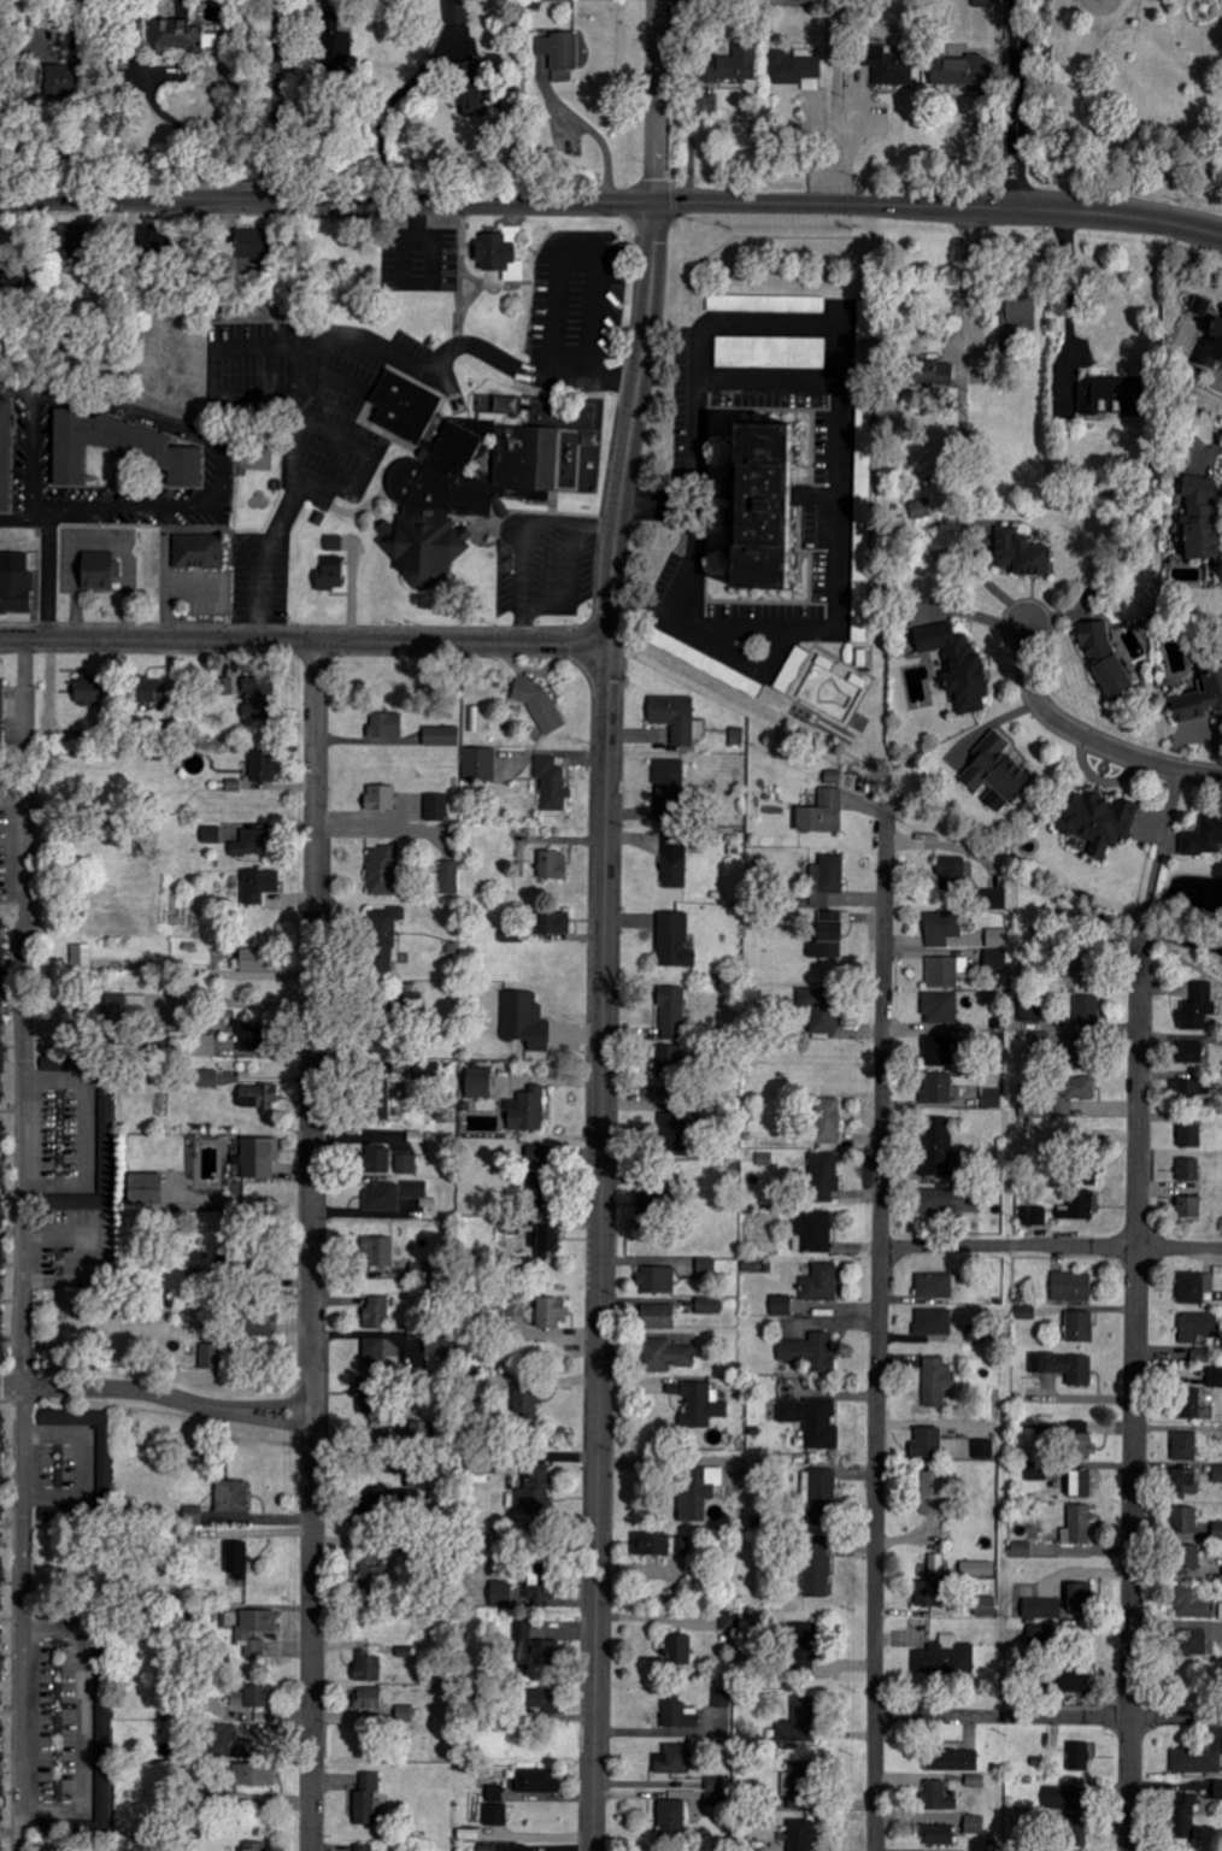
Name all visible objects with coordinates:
building: (983, 2)
building: (456, 11)
building: (176, 36)
building: (560, 54)
building: (733, 64)
building: (887, 65)
building: (794, 66)
building: (965, 71)
building: (55, 81)
building: (474, 93)
road: (274, 99)
road: (653, 100)
road: (1018, 104)
road: (147, 106)
road: (846, 141)
road: (327, 199)
road: (834, 205)
road: (1118, 221)
building: (70, 240)
building: (155, 240)
building: (253, 242)
building: (501, 253)
road: (574, 254)
road: (973, 269)
road: (960, 277)
road: (1065, 298)
building: (768, 304)
building: (1200, 305)
building: (1020, 312)
building: (869, 318)
road: (334, 331)
building: (1215, 343)
building: (801, 351)
building: (932, 372)
building: (1109, 395)
building: (405, 406)
road: (631, 425)
building: (124, 457)
building: (10, 458)
road: (230, 475)
building: (460, 495)
building: (758, 506)
building: (921, 509)
building: (1199, 519)
road: (571, 524)
building: (863, 524)
road: (836, 539)
building: (334, 542)
building: (199, 552)
building: (1021, 552)
road: (522, 564)
road: (570, 564)
building: (99, 570)
building: (330, 574)
building: (16, 583)
road: (544, 603)
road: (521, 624)
road: (304, 641)
building: (1106, 662)
building: (704, 663)
building: (959, 671)
building: (1211, 674)
road: (27, 686)
building: (225, 686)
building: (88, 689)
building: (148, 689)
building: (833, 689)
building: (259, 697)
building: (1, 710)
building: (674, 718)
building: (384, 725)
building: (441, 736)
road: (1086, 738)
building: (480, 765)
building: (264, 766)
building: (997, 774)
building: (551, 782)
road: (12, 785)
building: (669, 789)
building: (380, 798)
building: (437, 807)
building: (822, 813)
building: (1097, 821)
building: (212, 834)
building: (1204, 836)
building: (252, 844)
building: (552, 865)
building: (675, 866)
building: (382, 870)
building: (951, 872)
building: (450, 877)
building: (826, 880)
building: (259, 886)
building: (992, 899)
building: (552, 923)
building: (942, 928)
building: (828, 935)
building: (383, 938)
building: (998, 938)
building: (675, 941)
building: (82, 959)
building: (255, 960)
building: (1076, 965)
building: (942, 972)
building: (124, 1006)
building: (1198, 1006)
building: (940, 1007)
building: (819, 1009)
building: (1087, 1011)
building: (672, 1013)
building: (5, 1017)
building: (525, 1021)
building: (249, 1035)
building: (1041, 1040)
building: (205, 1045)
building: (938, 1051)
building: (1189, 1052)
building: (1082, 1053)
building: (55, 1064)
building: (671, 1064)
building: (208, 1079)
building: (478, 1083)
building: (940, 1088)
building: (1079, 1088)
building: (1191, 1093)
building: (258, 1097)
building: (992, 1098)
building: (377, 1101)
building: (528, 1111)
building: (827, 1121)
building: (1191, 1132)
building: (106, 1142)
building: (936, 1147)
building: (535, 1152)
building: (255, 1158)
building: (376, 1159)
building: (406, 1164)
building: (1188, 1170)
building: (823, 1176)
building: (1085, 1180)
building: (5, 1182)
building: (145, 1189)
building: (416, 1189)
building: (536, 1191)
building: (381, 1195)
building: (948, 1201)
building: (1080, 1206)
building: (1189, 1207)
building: (1034, 1216)
building: (815, 1230)
building: (546, 1241)
road: (313, 1245)
road: (1051, 1246)
road: (601, 1248)
building: (378, 1252)
building: (707, 1269)
building: (658, 1280)
building: (821, 1283)
building: (934, 1286)
building: (1071, 1287)
building: (1195, 1288)
building: (709, 1305)
building: (781, 1305)
building: (6, 1311)
building: (377, 1312)
building: (517, 1312)
building: (550, 1314)
building: (657, 1317)
road: (24, 1318)
building: (933, 1322)
building: (1080, 1327)
building: (1198, 1327)
road: (880, 1328)
building: (440, 1345)
building: (810, 1352)
building: (380, 1353)
building: (1200, 1355)
building: (212, 1356)
building: (665, 1356)
building: (1065, 1368)
building: (1215, 1377)
building: (936, 1381)
road: (12, 1382)
building: (519, 1397)
road: (1134, 1397)
road: (169, 1399)
building: (1188, 1404)
building: (701, 1405)
road: (12, 1414)
building: (813, 1421)
building: (83, 1424)
building: (1080, 1440)
building: (396, 1441)
building: (928, 1442)
building: (1185, 1447)
building: (983, 1449)
building: (5, 1474)
building: (1217, 1474)
building: (1185, 1483)
building: (1080, 1485)
building: (935, 1492)
building: (535, 1493)
building: (698, 1494)
building: (231, 1497)
building: (819, 1497)
building: (194, 1515)
building: (53, 1516)
building: (1185, 1521)
building: (1079, 1526)
building: (1217, 1532)
building: (651, 1545)
building: (685, 1545)
building: (1021, 1550)
building: (1187, 1558)
building: (237, 1561)
building: (936, 1564)
building: (976, 1568)
building: (816, 1571)
building: (374, 1576)
building: (537, 1588)
building: (500, 1594)
building: (929, 1594)
building: (1080, 1598)
building: (1192, 1602)
building: (986, 1606)
building: (1042, 1609)
building: (733, 1624)
building: (921, 1624)
building: (4, 1627)
building: (255, 1632)
building: (536, 1643)
building: (1191, 1644)
building: (803, 1645)
building: (678, 1651)
building: (945, 1657)
building: (369, 1667)
building: (1073, 1677)
building: (254, 1697)
building: (722, 1698)
building: (381, 1706)
building: (677, 1714)
road: (1048, 1717)
building: (800, 1721)
building: (231, 1743)
building: (1081, 1755)
building: (674, 1758)
building: (952, 1759)
building: (1197, 1759)
building: (255, 1774)
building: (536, 1780)
building: (4, 1782)
building: (716, 1784)
building: (800, 1784)
building: (495, 1792)
building: (938, 1796)
building: (1063, 1798)
building: (368, 1799)
building: (497, 1814)
building: (1185, 1816)
building: (671, 1817)
building: (975, 1824)
building: (1071, 1831)
building: (938, 1834)
building: (253, 1847)
building: (365, 1847)

